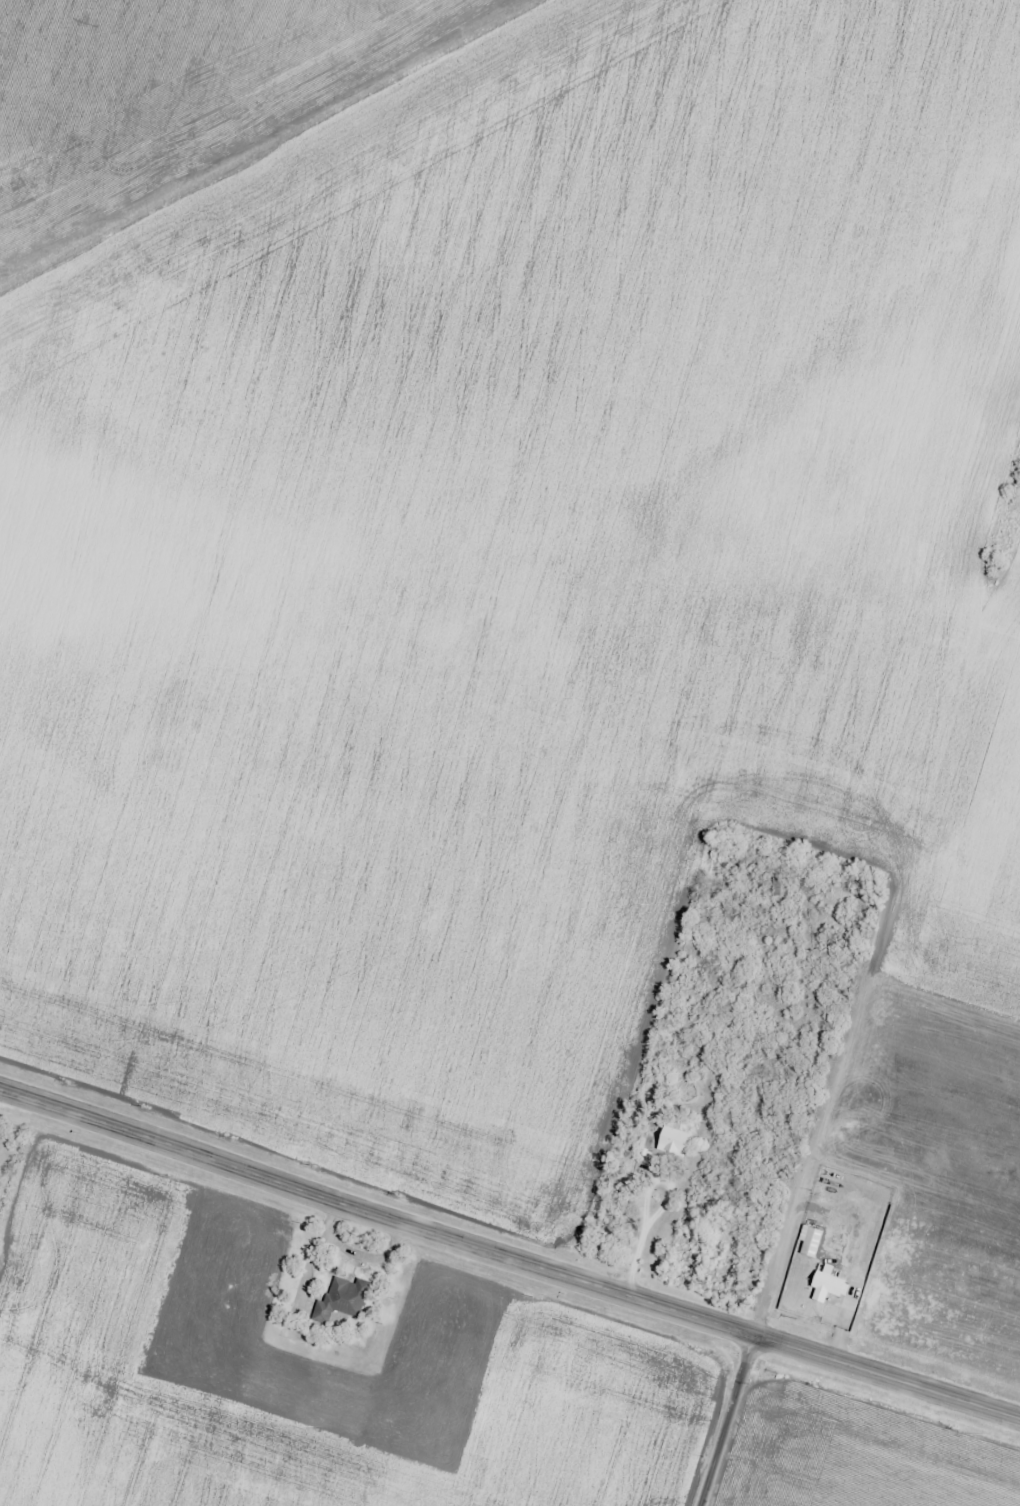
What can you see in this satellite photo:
building: (682, 1058)
road: (846, 1068)
building: (665, 1141)
road: (376, 1214)
building: (807, 1242)
building: (826, 1284)
building: (339, 1300)
road: (886, 1376)

